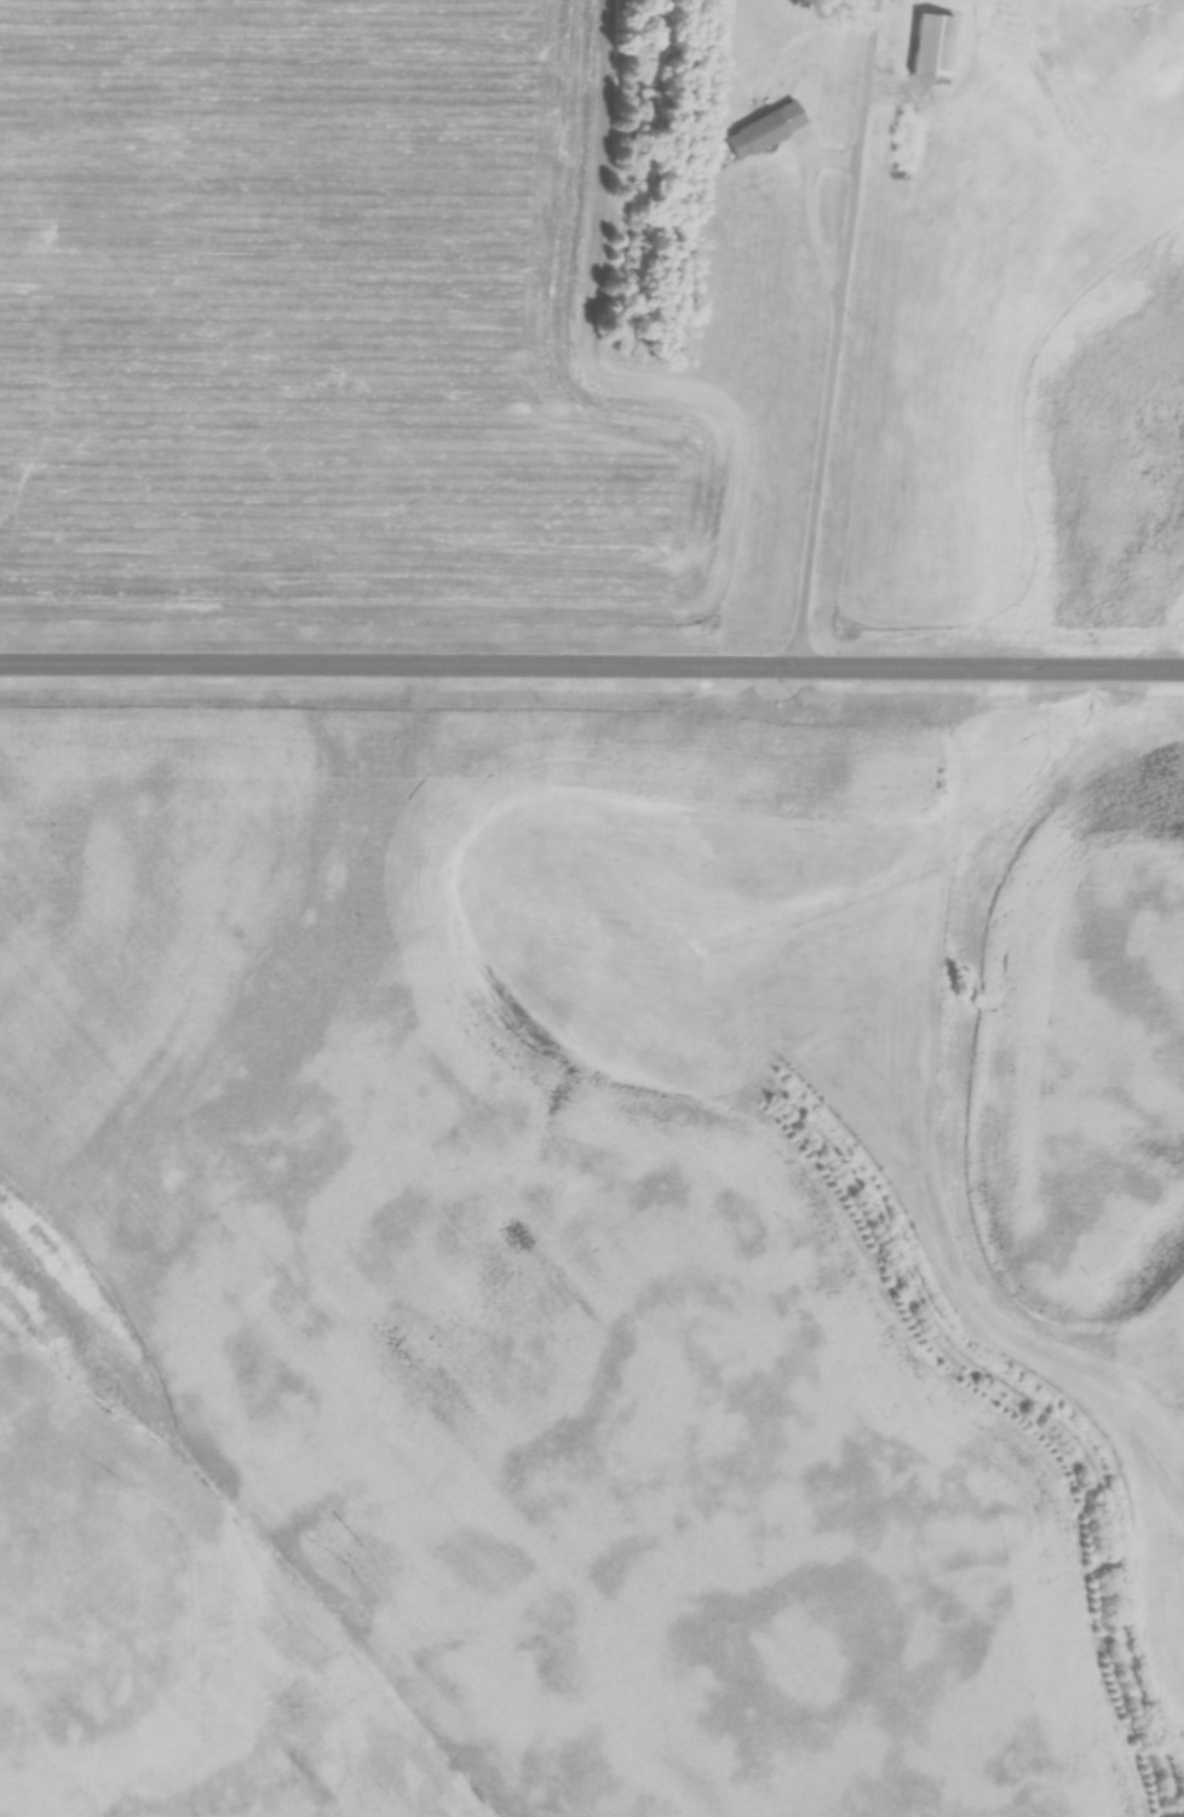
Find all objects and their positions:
building: (931, 46)
building: (764, 132)
road: (835, 329)
road: (592, 660)

